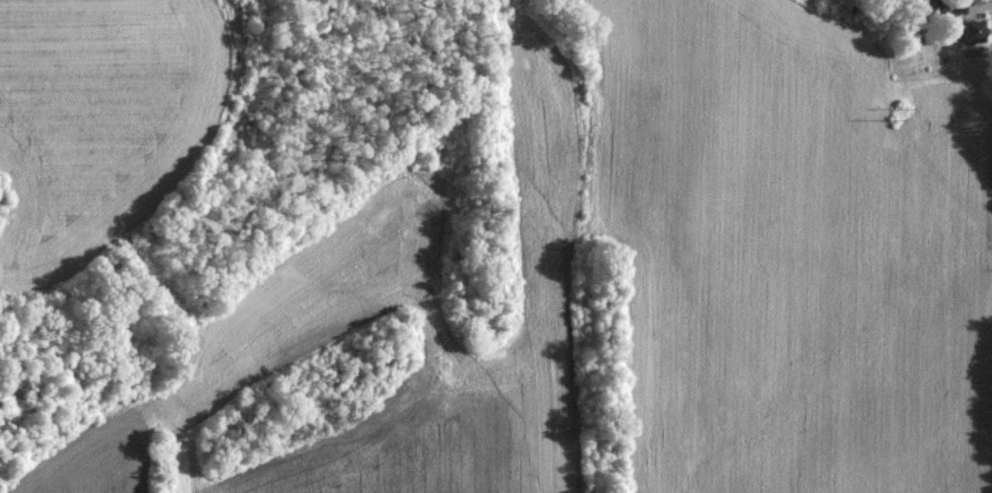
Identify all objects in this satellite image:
building: (973, 29)

